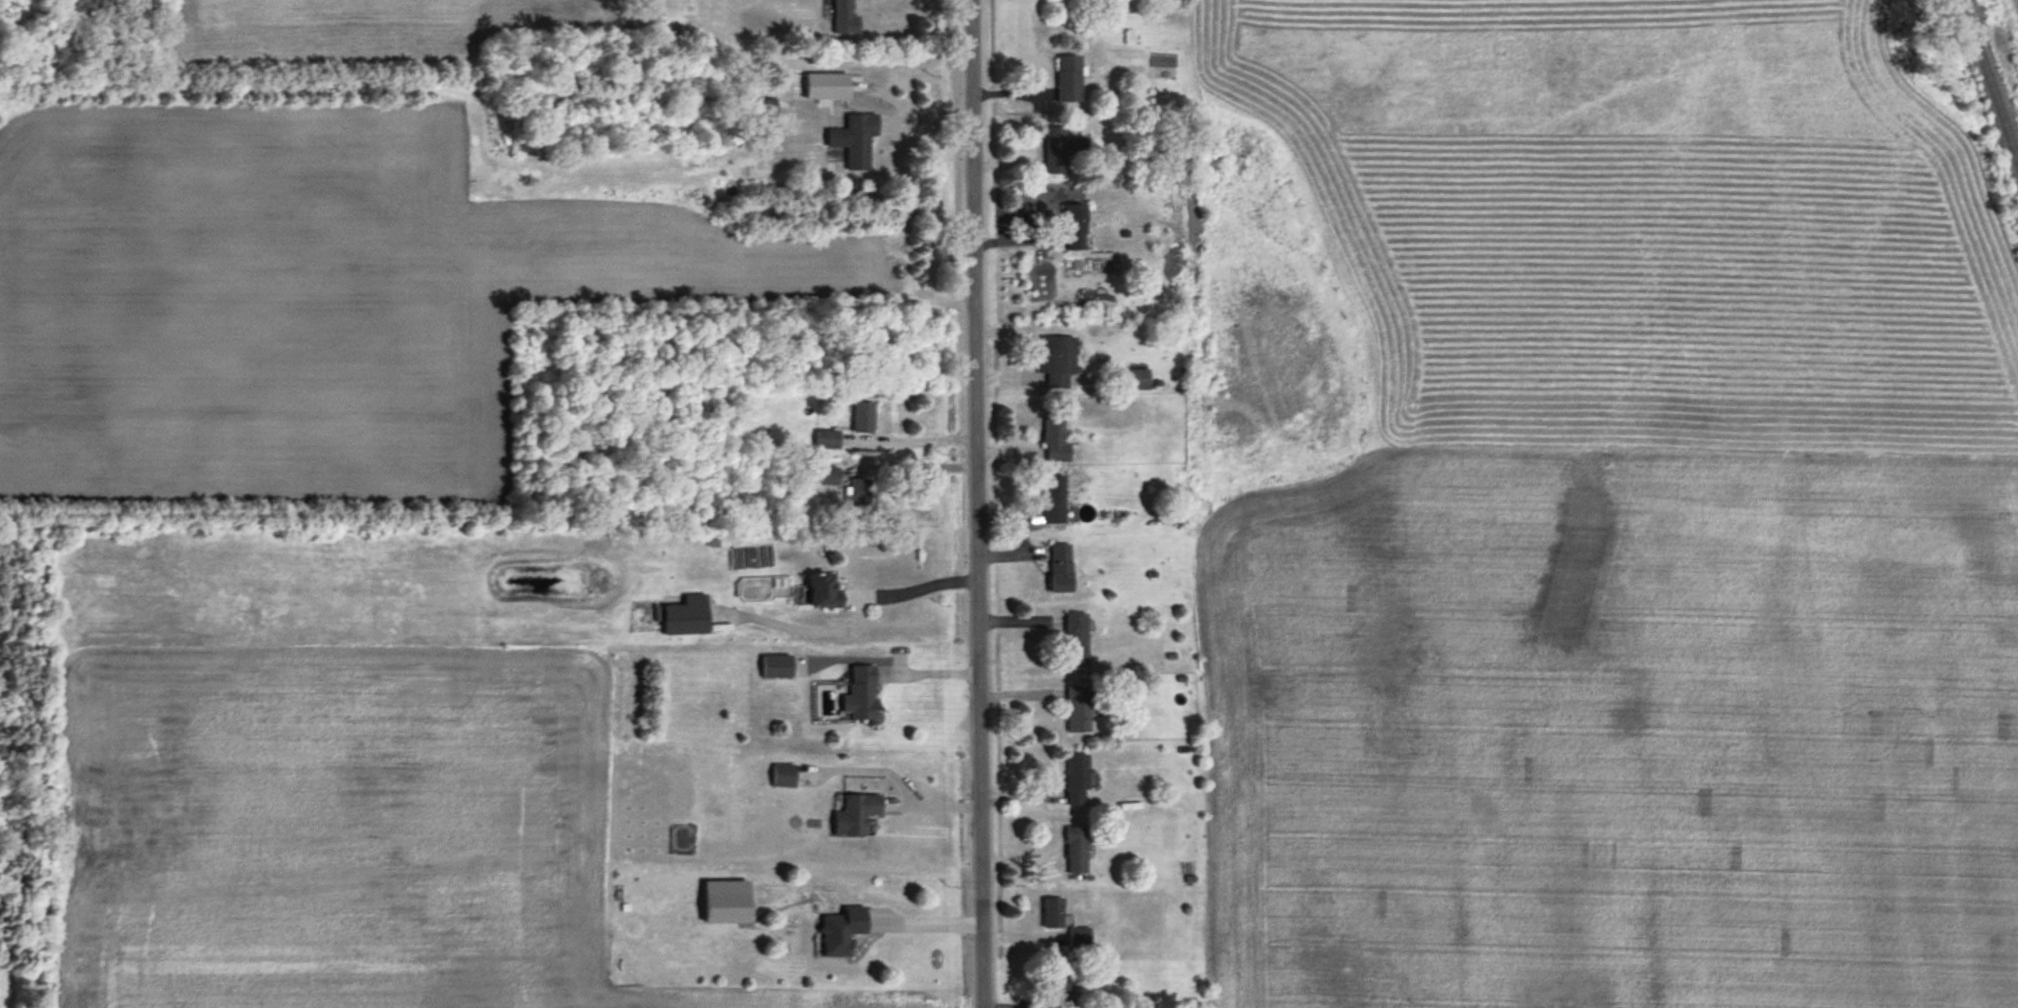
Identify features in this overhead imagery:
road: (2016, 3)
building: (844, 18)
building: (1068, 79)
railway: (1988, 84)
building: (766, 109)
building: (854, 140)
building: (1060, 151)
building: (1075, 228)
building: (1057, 360)
building: (1133, 380)
building: (863, 417)
building: (827, 440)
building: (1054, 440)
building: (826, 476)
building: (859, 495)
building: (1052, 500)
road: (978, 504)
building: (1060, 569)
road: (919, 590)
building: (822, 592)
building: (686, 618)
building: (1075, 641)
building: (778, 667)
road: (926, 668)
building: (862, 694)
building: (1077, 710)
building: (783, 777)
building: (1076, 781)
road: (929, 801)
building: (855, 815)
building: (1076, 851)
building: (1052, 914)
road: (927, 920)
building: (841, 932)
building: (1077, 938)
building: (1060, 987)

